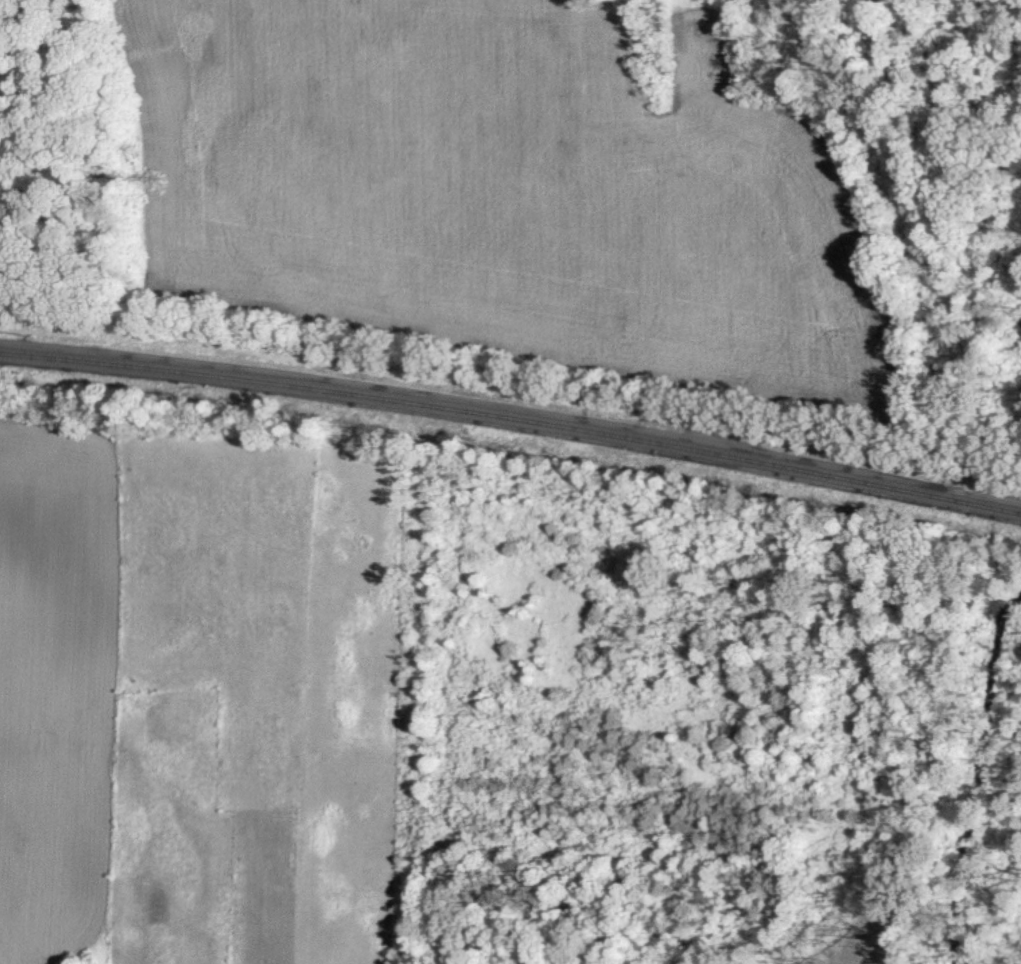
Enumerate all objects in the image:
river: (1014, 5)
railway: (513, 416)

